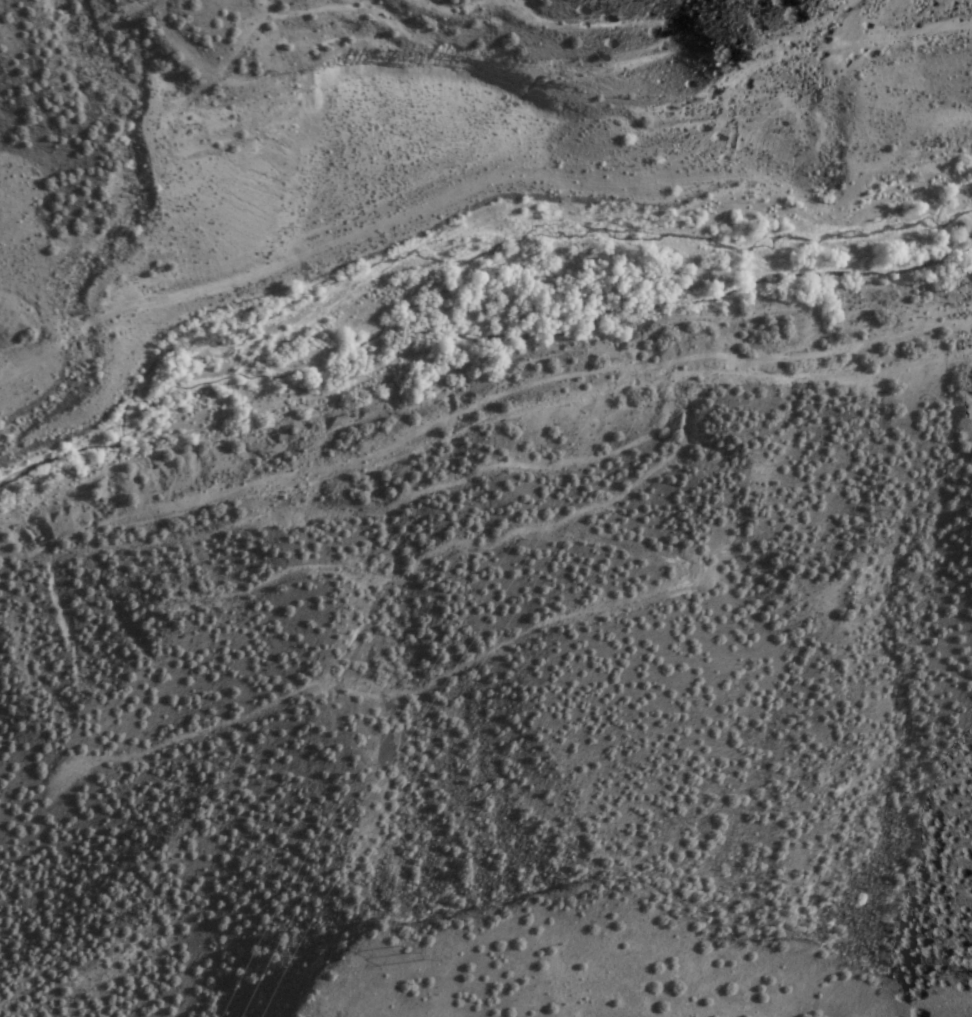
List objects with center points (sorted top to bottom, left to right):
road: (485, 178)
river: (475, 315)
road: (492, 480)
road: (633, 613)

